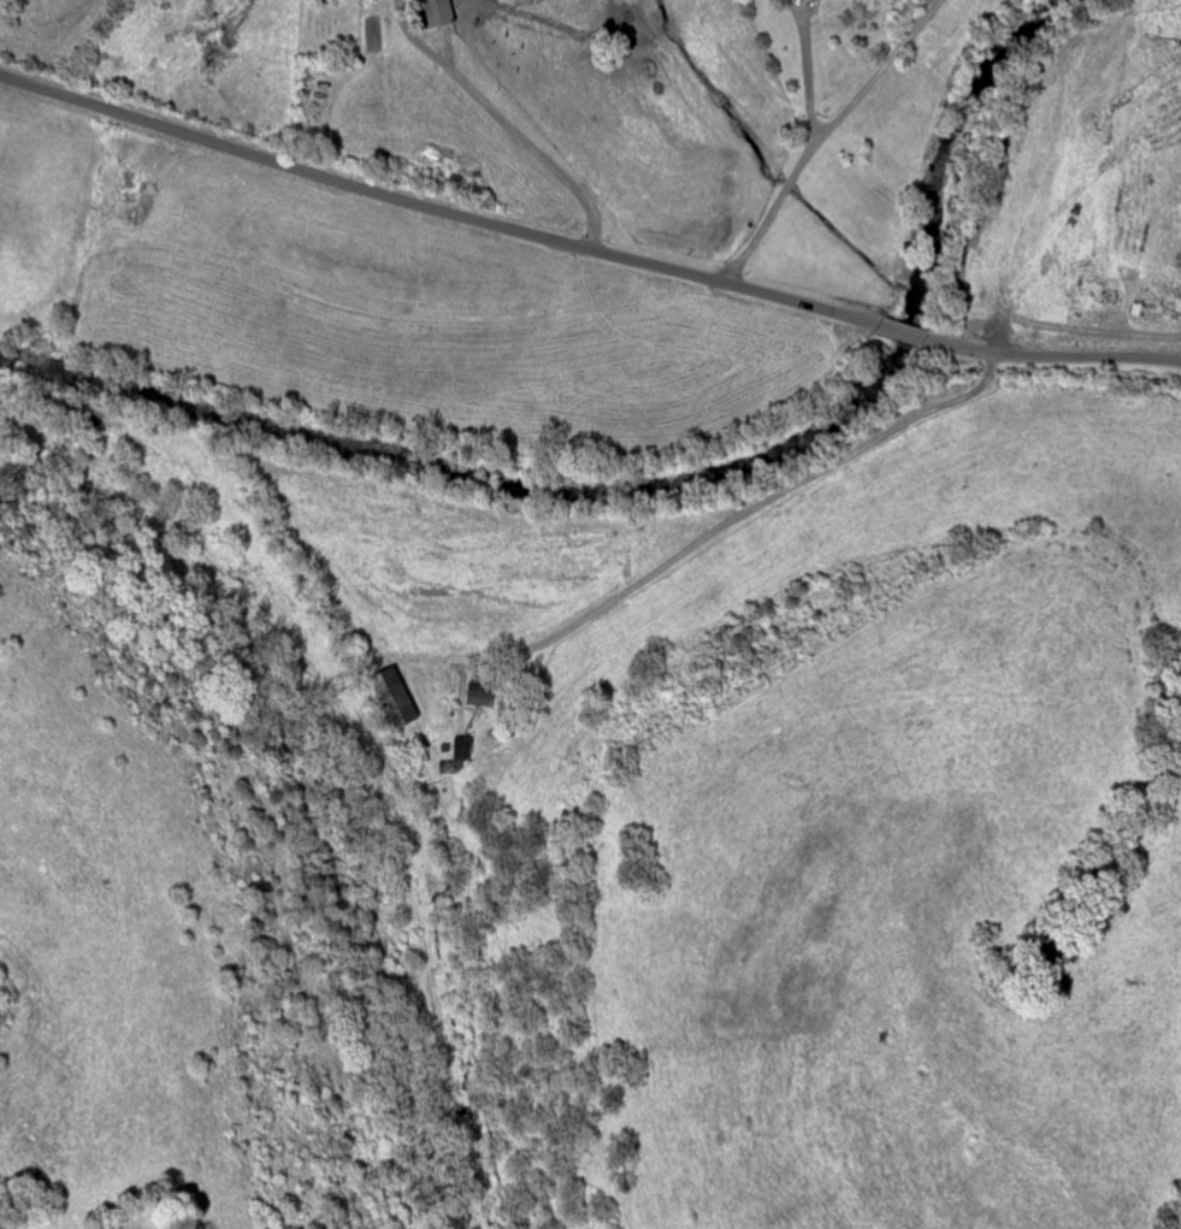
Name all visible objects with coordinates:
building: (442, 12)
road: (807, 70)
road: (513, 130)
road: (825, 132)
road: (584, 249)
road: (736, 516)
building: (483, 697)
building: (465, 751)

